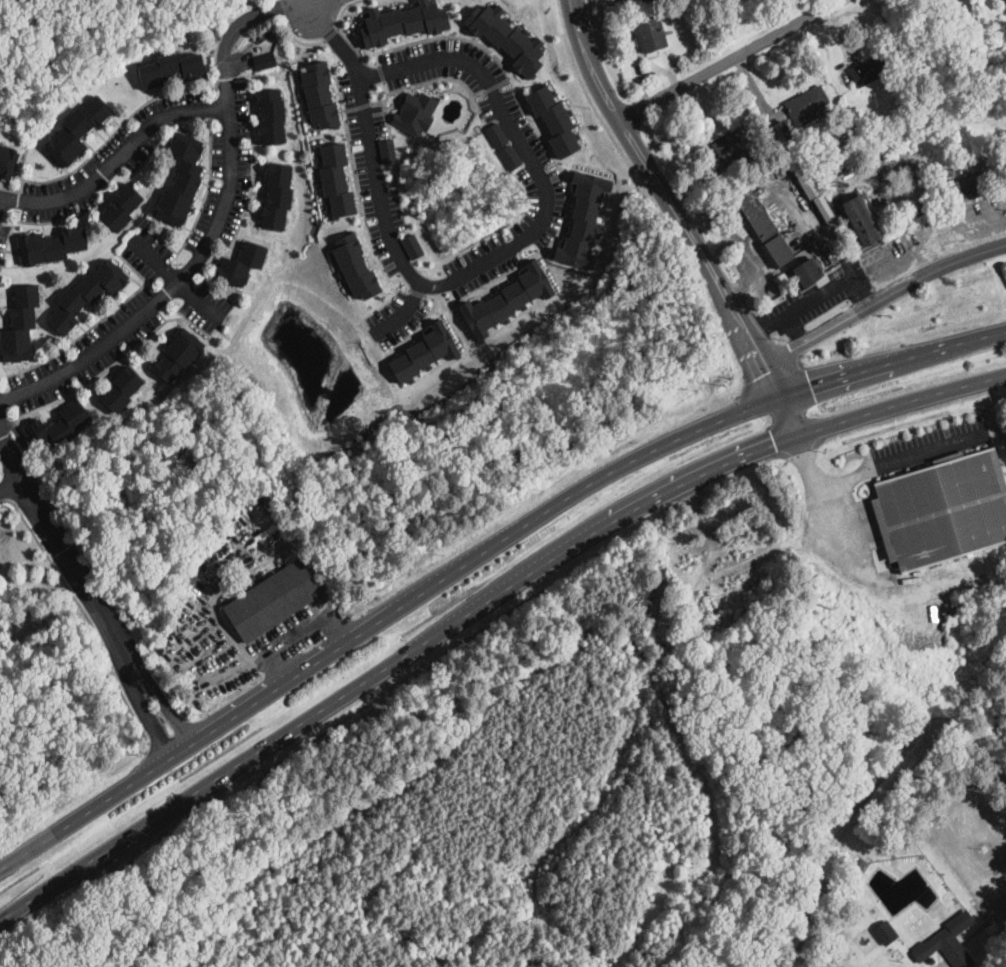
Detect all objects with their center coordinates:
road: (249, 15)
building: (402, 21)
building: (650, 34)
road: (332, 37)
building: (507, 37)
park: (81, 41)
road: (730, 59)
building: (264, 61)
building: (869, 69)
building: (171, 70)
building: (319, 94)
building: (805, 105)
building: (415, 112)
road: (597, 112)
building: (271, 116)
building: (841, 118)
building: (555, 119)
road: (529, 120)
building: (874, 126)
building: (782, 131)
building: (76, 132)
building: (496, 134)
building: (732, 141)
building: (848, 142)
building: (387, 149)
building: (884, 149)
building: (900, 149)
building: (510, 156)
road: (116, 158)
building: (7, 161)
building: (732, 162)
building: (939, 173)
building: (335, 179)
building: (180, 180)
building: (964, 189)
building: (277, 196)
road: (669, 199)
building: (122, 206)
building: (584, 218)
building: (859, 220)
building: (763, 226)
road: (517, 240)
building: (51, 245)
building: (412, 245)
road: (931, 249)
road: (944, 255)
building: (240, 265)
building: (354, 266)
road: (187, 269)
building: (806, 272)
road: (176, 277)
building: (87, 294)
road: (882, 298)
building: (507, 299)
road: (810, 299)
road: (406, 310)
building: (20, 324)
road: (794, 327)
building: (424, 352)
building: (179, 355)
road: (890, 358)
traffic signals: (767, 371)
traffic signals: (810, 385)
building: (122, 390)
road: (901, 405)
road: (788, 415)
building: (62, 425)
building: (26, 433)
traffic signals: (775, 445)
traffic signals: (803, 450)
road: (872, 469)
road: (11, 484)
building: (941, 509)
building: (198, 589)
road: (87, 590)
building: (271, 600)
road: (87, 615)
road: (381, 619)
road: (292, 634)
building: (640, 652)
road: (390, 663)
building: (676, 683)
building: (858, 863)
building: (840, 924)
building: (885, 932)
building: (947, 942)

